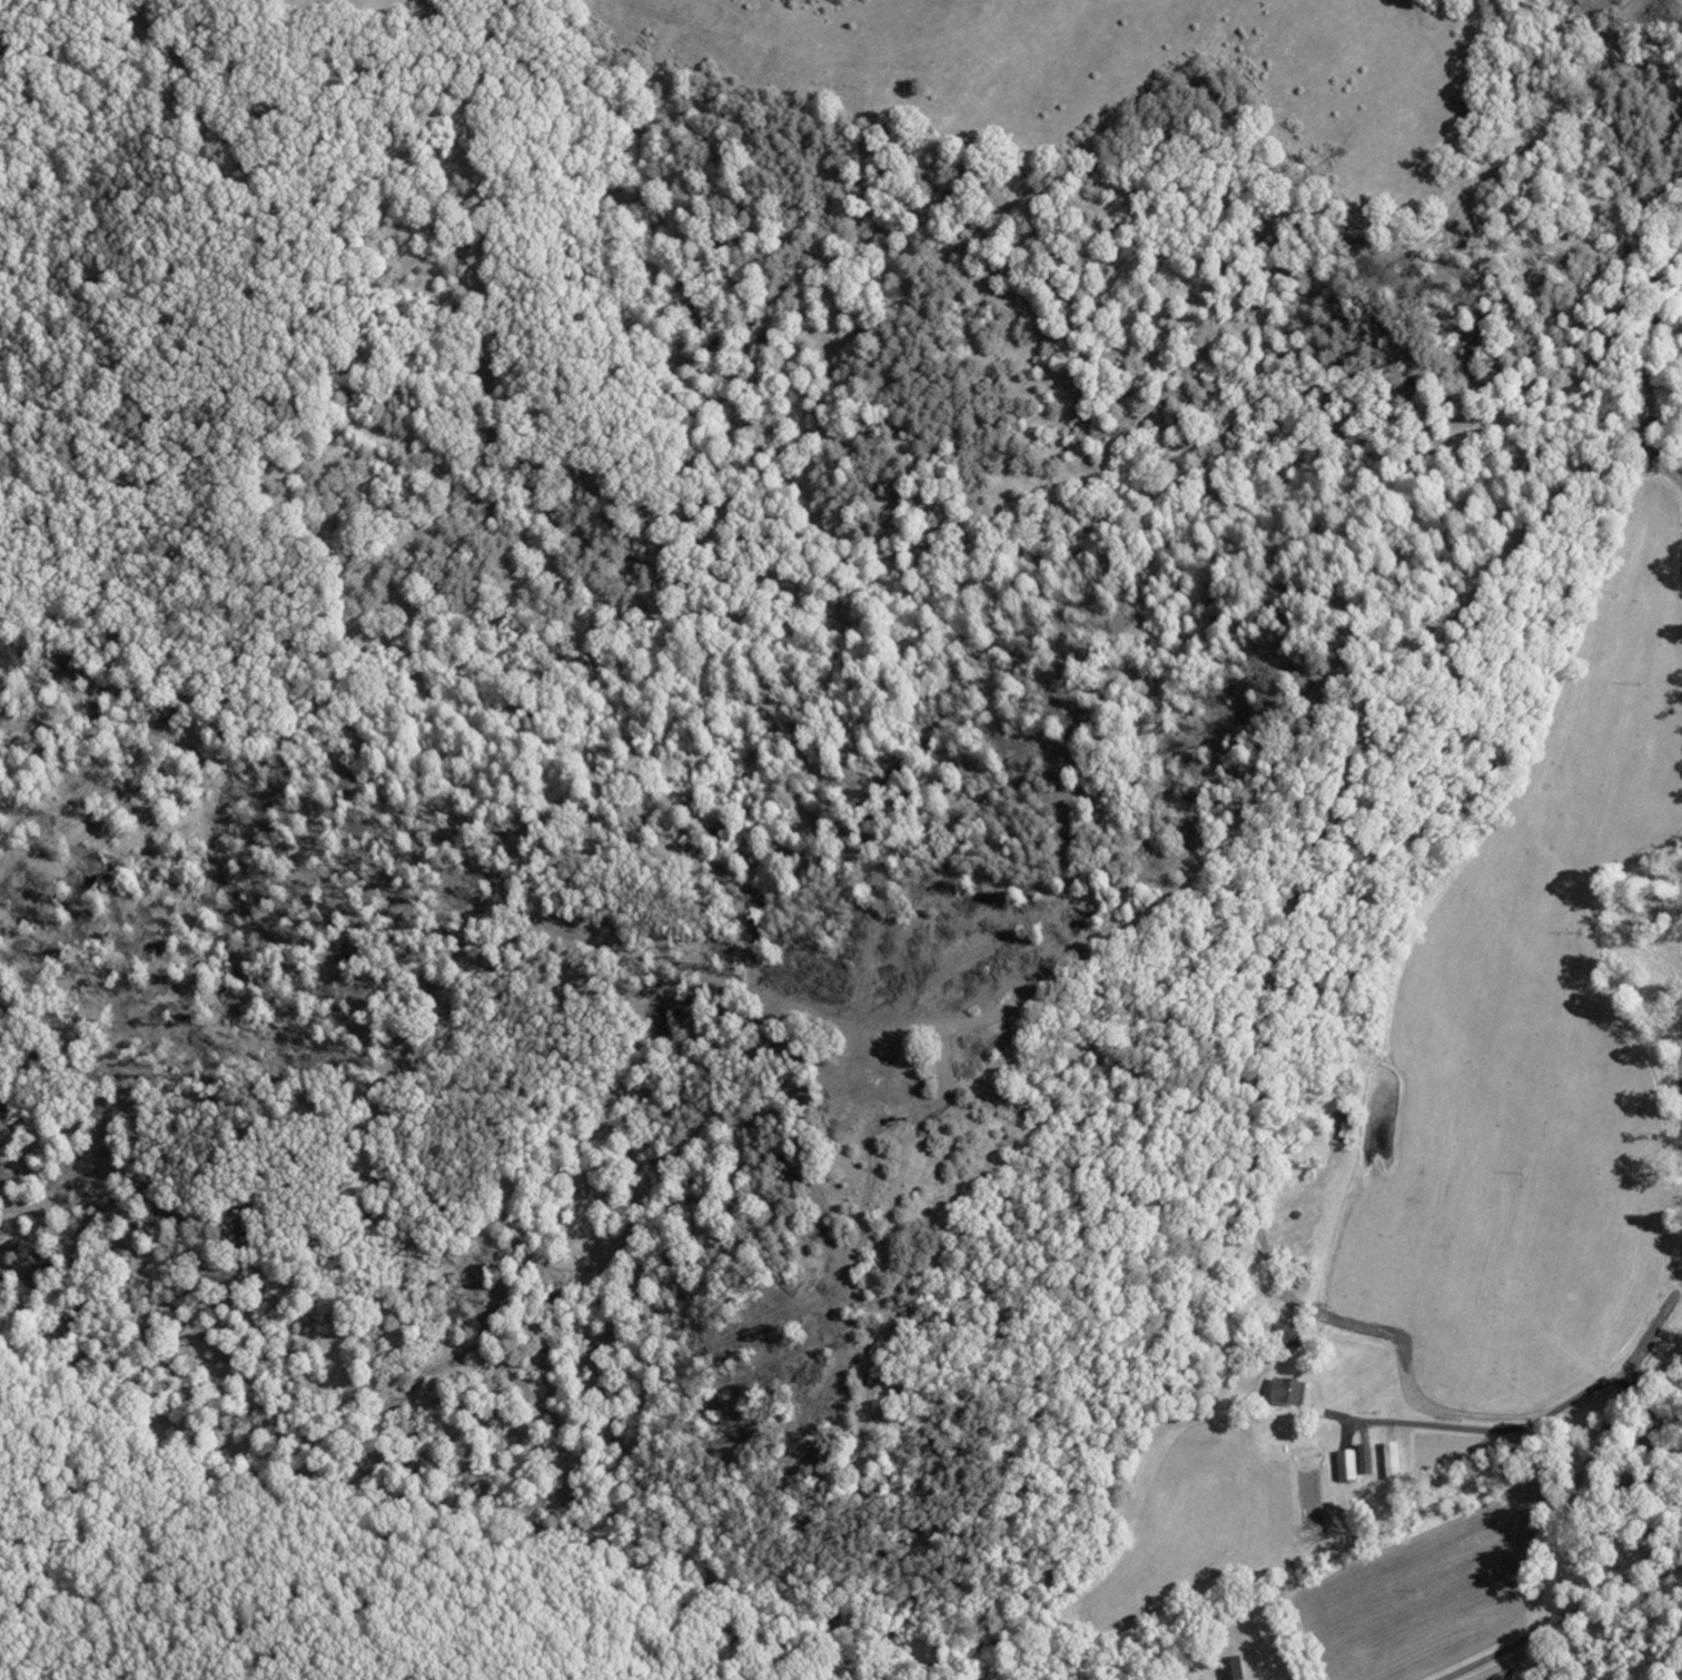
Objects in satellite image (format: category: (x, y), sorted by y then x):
building: (1343, 1118)
building: (1307, 1274)
building: (1285, 1333)
building: (1286, 1392)
road: (1503, 1405)
building: (1364, 1459)
building: (1391, 1460)
building: (1345, 1465)
road: (1532, 1590)
building: (1229, 1668)

